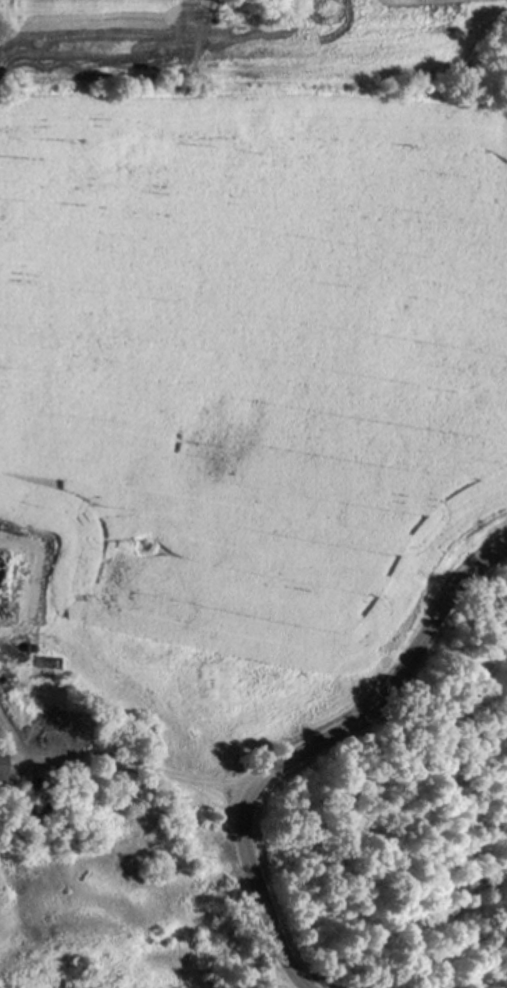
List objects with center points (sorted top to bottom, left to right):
building: (11, 586)
building: (49, 663)
building: (49, 732)
road: (312, 748)
building: (2, 765)

